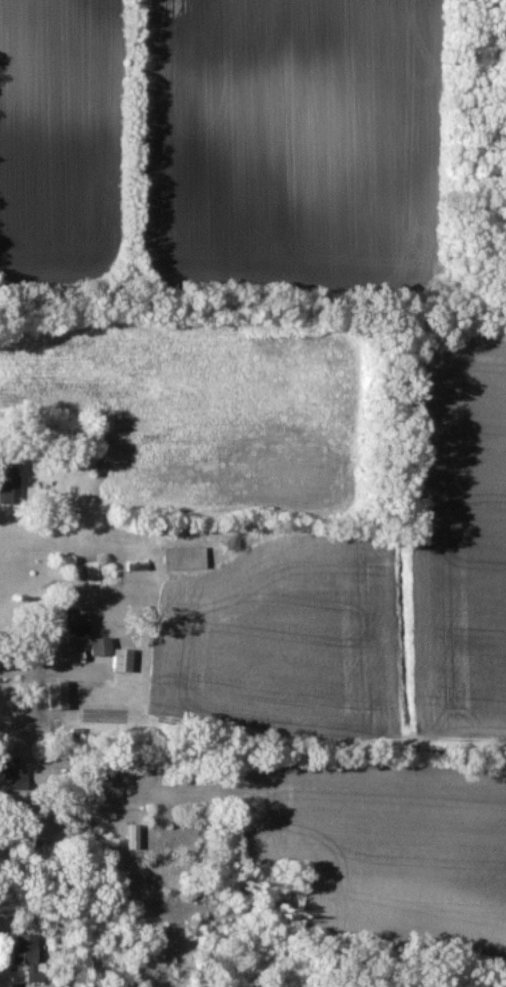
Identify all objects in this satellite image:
building: (85, 447)
building: (187, 557)
building: (88, 633)
building: (126, 660)
building: (61, 695)

